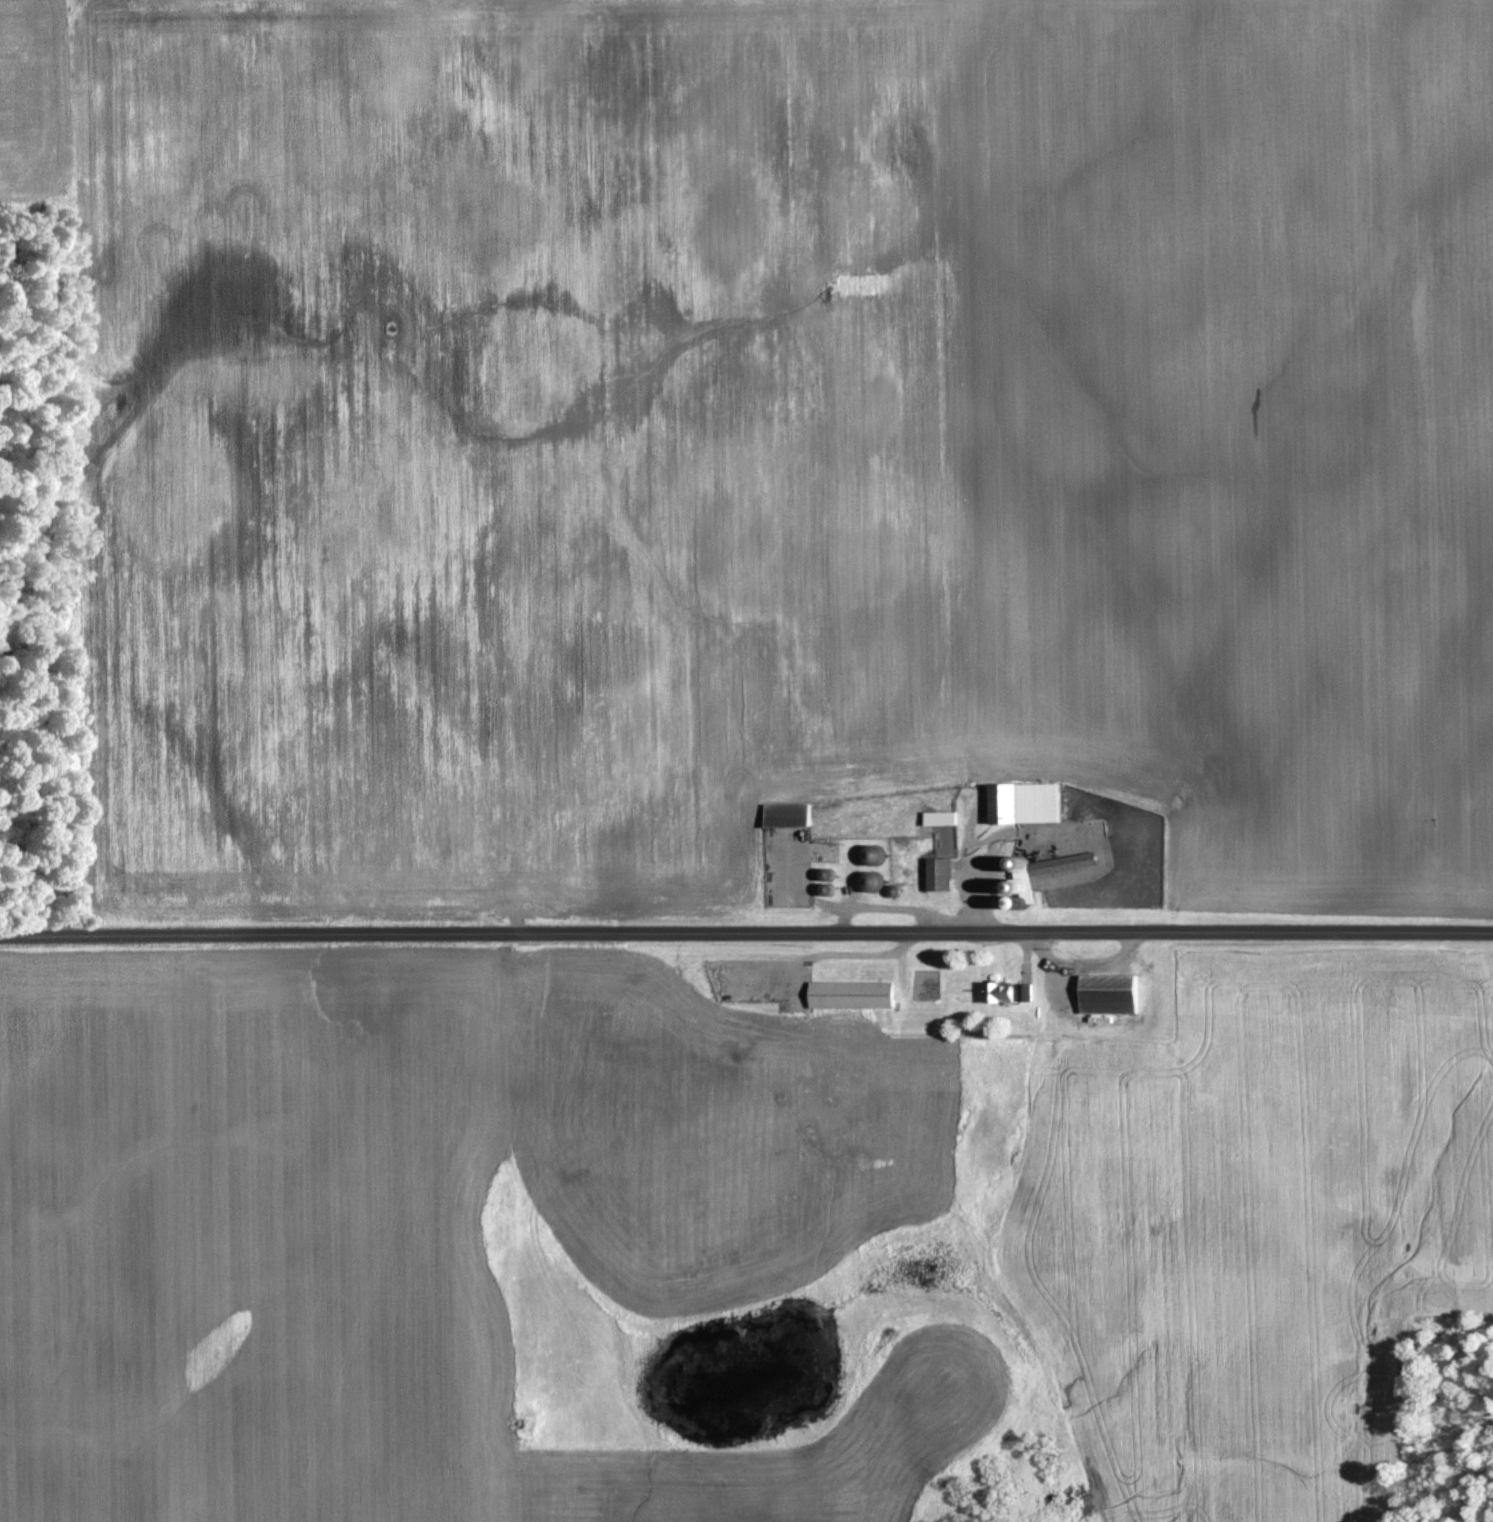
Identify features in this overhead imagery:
building: (1022, 801)
building: (785, 812)
building: (939, 816)
building: (1061, 862)
building: (938, 872)
road: (746, 932)
building: (999, 990)
building: (1024, 990)
building: (1107, 992)
building: (850, 993)

